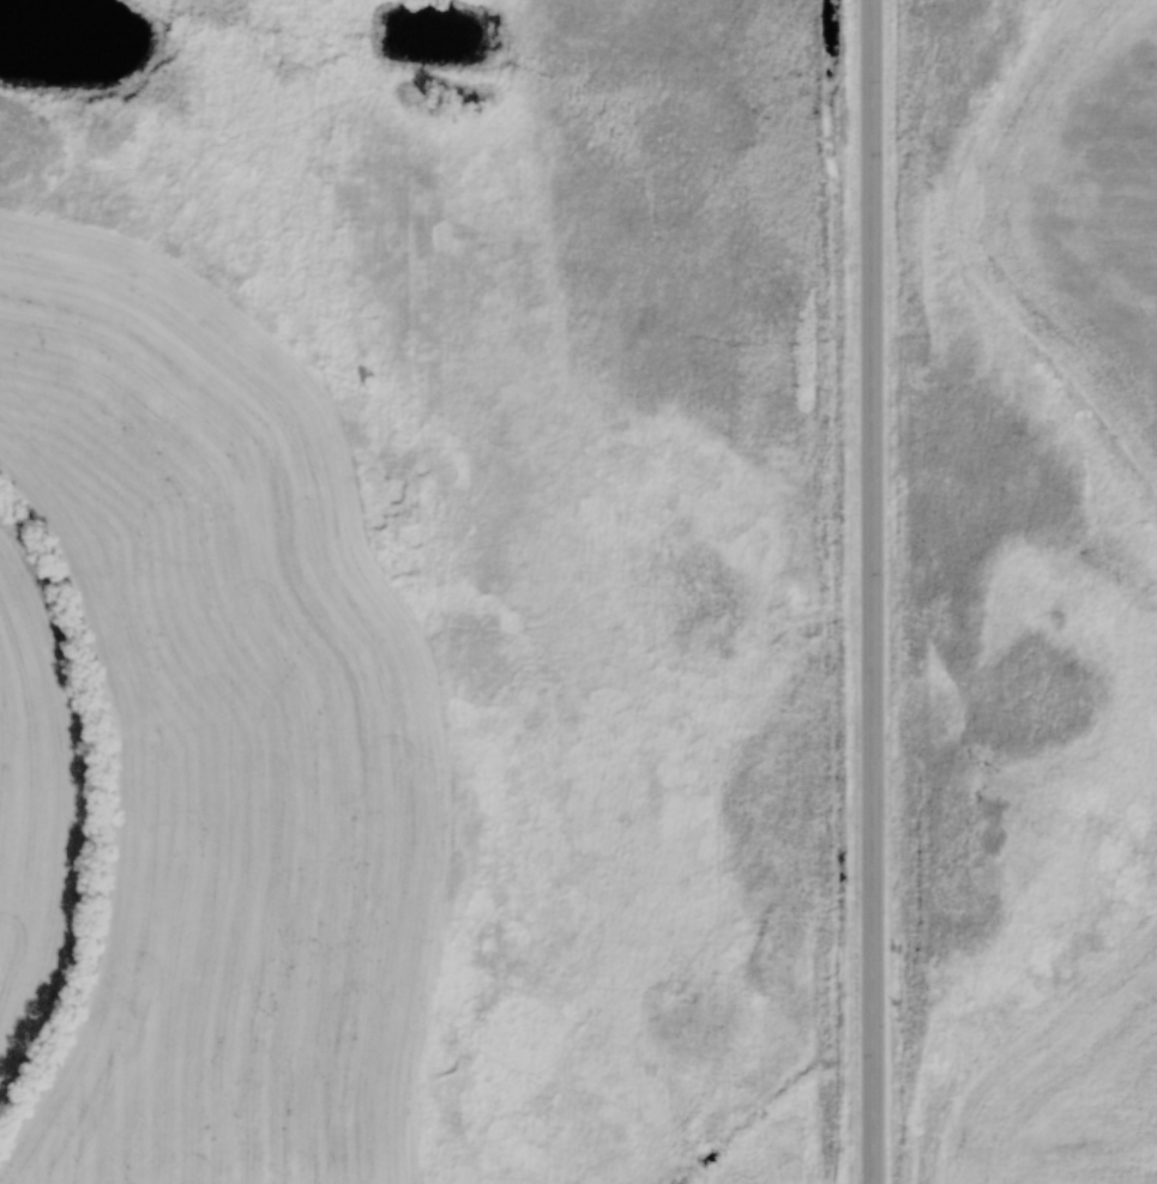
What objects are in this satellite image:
road: (870, 592)

